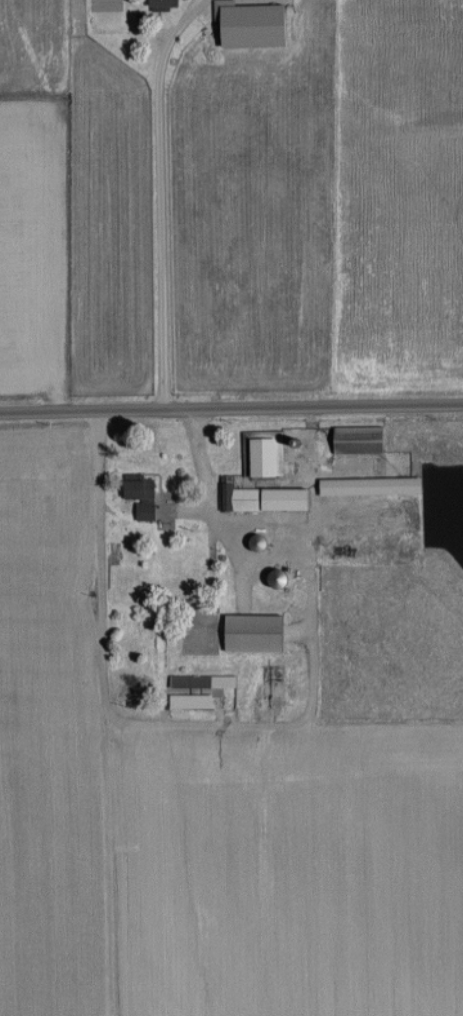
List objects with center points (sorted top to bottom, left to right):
building: (156, 3)
building: (247, 6)
road: (156, 202)
road: (231, 413)
building: (353, 439)
building: (259, 454)
building: (364, 485)
building: (134, 487)
building: (261, 498)
building: (253, 542)
building: (270, 579)
building: (249, 632)
building: (197, 681)
building: (186, 701)
road: (247, 729)

